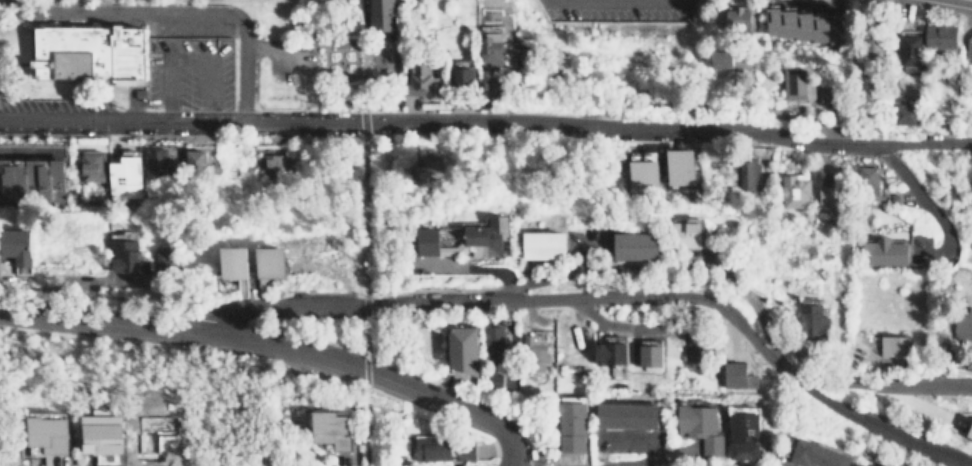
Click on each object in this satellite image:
parking lot: (609, 11)
road: (171, 12)
building: (381, 14)
building: (739, 17)
road: (33, 23)
building: (804, 23)
building: (940, 36)
building: (491, 48)
building: (909, 49)
building: (91, 52)
park: (338, 55)
road: (188, 57)
building: (726, 59)
parking lot: (288, 62)
road: (29, 67)
parking lot: (189, 72)
building: (466, 77)
building: (423, 81)
building: (795, 84)
building: (905, 113)
road: (486, 120)
building: (194, 160)
building: (157, 162)
building: (92, 165)
building: (274, 167)
building: (681, 167)
building: (427, 168)
building: (644, 172)
building: (126, 174)
building: (746, 175)
building: (33, 179)
building: (866, 180)
building: (795, 190)
building: (830, 197)
building: (691, 232)
building: (547, 244)
building: (637, 245)
building: (20, 248)
building: (125, 251)
building: (885, 252)
building: (163, 261)
building: (237, 261)
building: (275, 261)
road: (522, 299)
building: (812, 320)
building: (962, 324)
building: (497, 341)
road: (278, 344)
building: (895, 345)
building: (465, 348)
building: (695, 348)
building: (611, 351)
building: (651, 354)
building: (742, 374)
road: (895, 381)
building: (629, 408)
building: (574, 425)
building: (702, 426)
building: (334, 428)
building: (51, 432)
building: (105, 433)
road: (889, 433)
building: (971, 433)
building: (744, 435)
building: (445, 447)
building: (818, 454)
road: (948, 461)
building: (862, 464)

